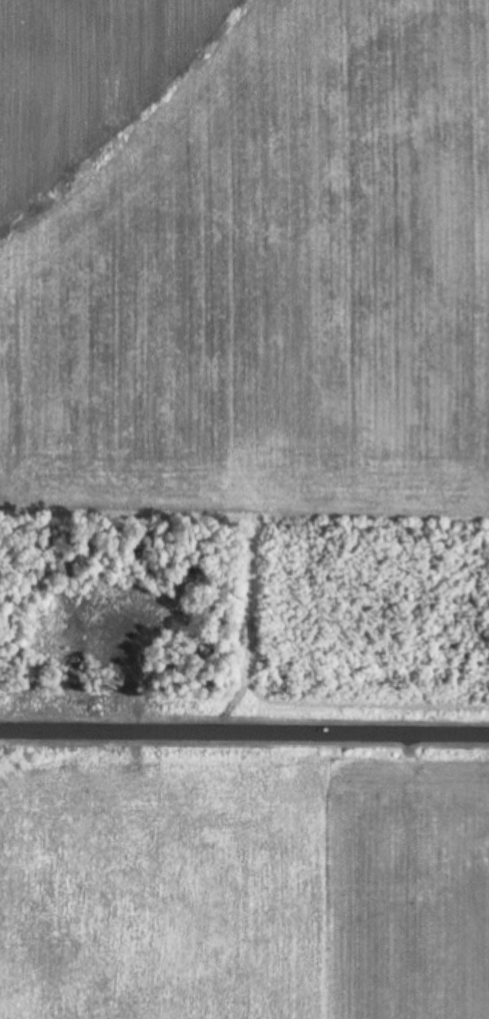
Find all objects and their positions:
road: (244, 745)

